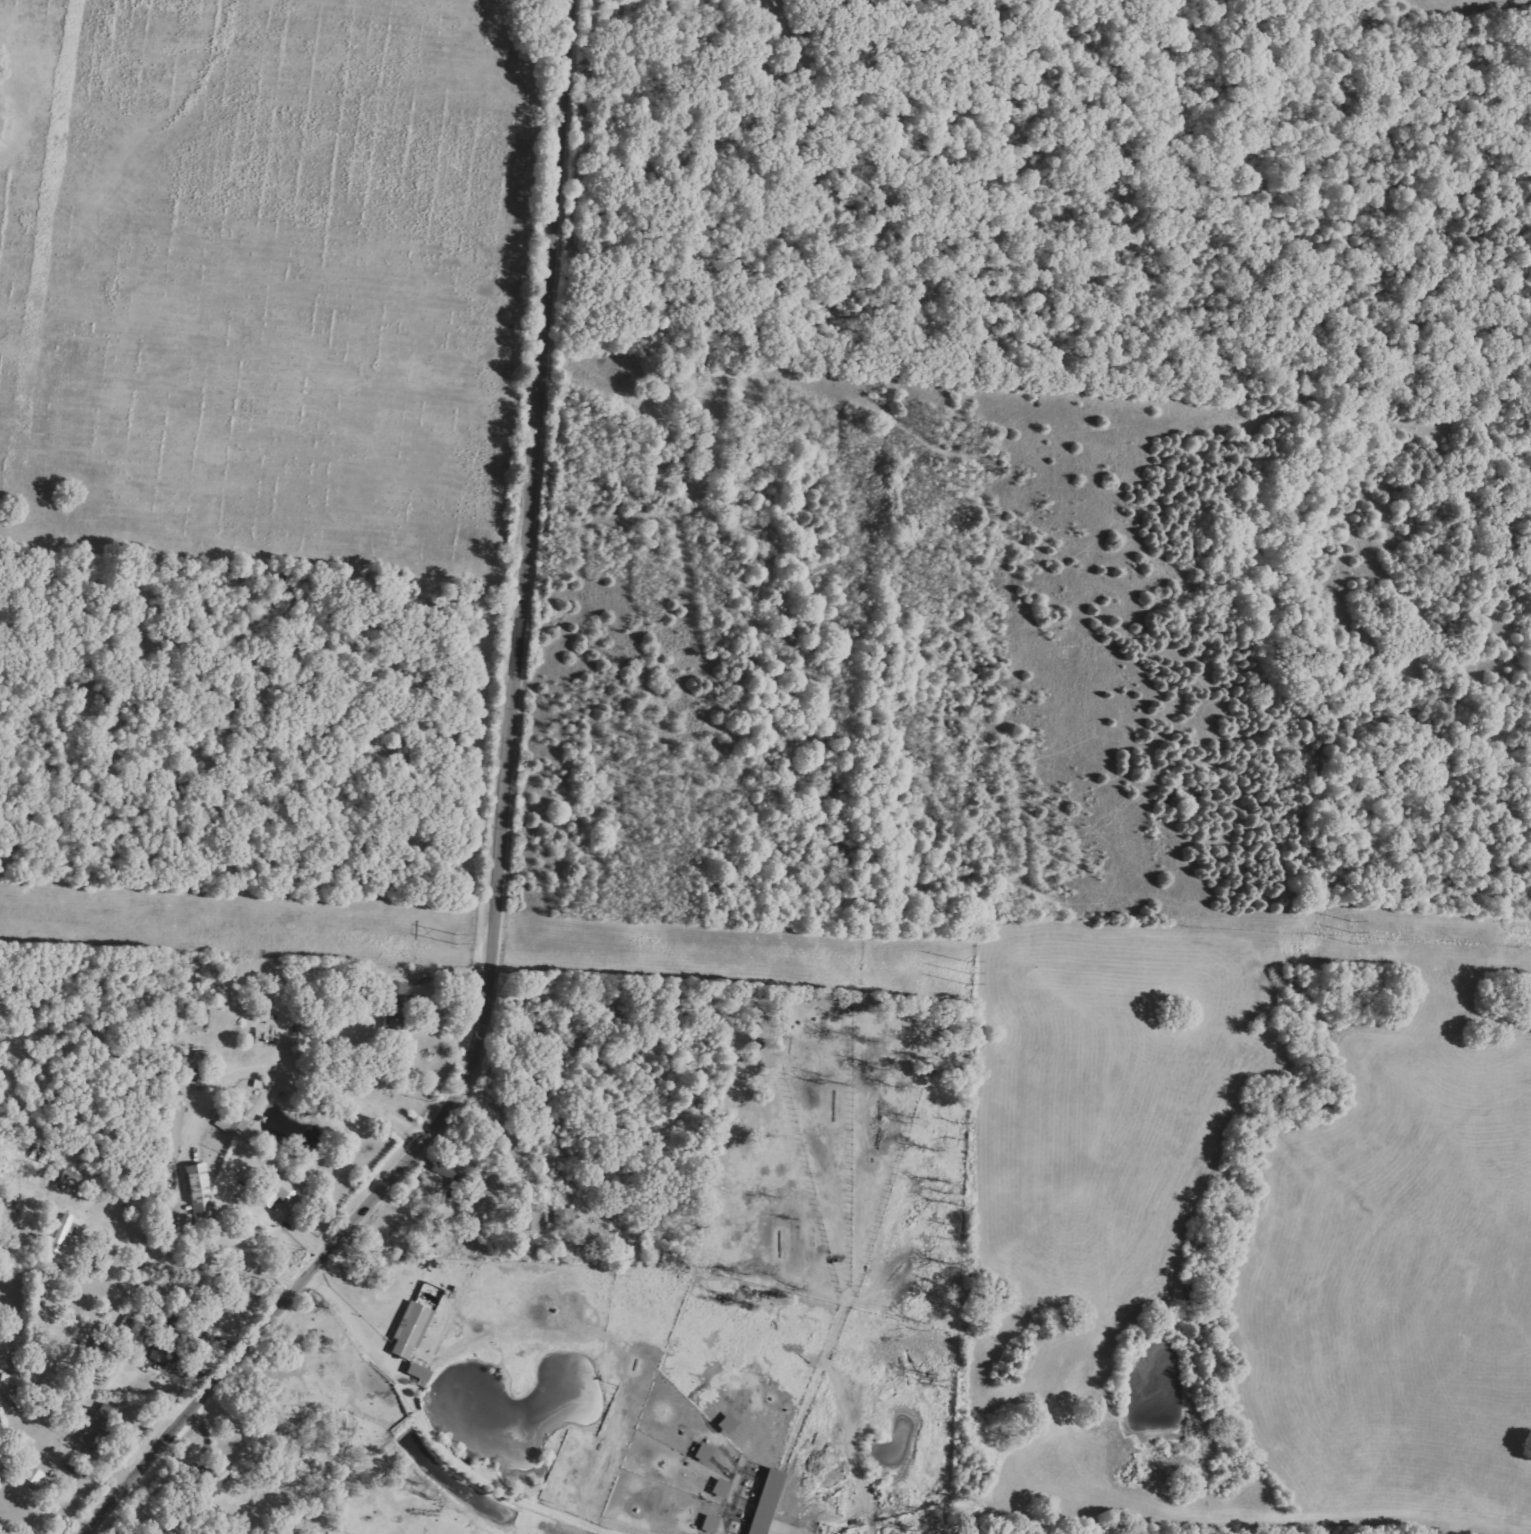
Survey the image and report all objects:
road: (494, 834)
building: (392, 1002)
road: (274, 1073)
building: (225, 1123)
building: (171, 1131)
building: (452, 1171)
building: (65, 1180)
building: (272, 1189)
building: (196, 1192)
building: (529, 1220)
building: (61, 1233)
road: (172, 1261)
building: (408, 1329)
building: (104, 1345)
building: (157, 1345)
building: (416, 1371)
building: (98, 1426)
road: (428, 1428)
building: (32, 1476)
building: (210, 1481)
building: (718, 1487)
building: (767, 1507)
building: (707, 1523)

